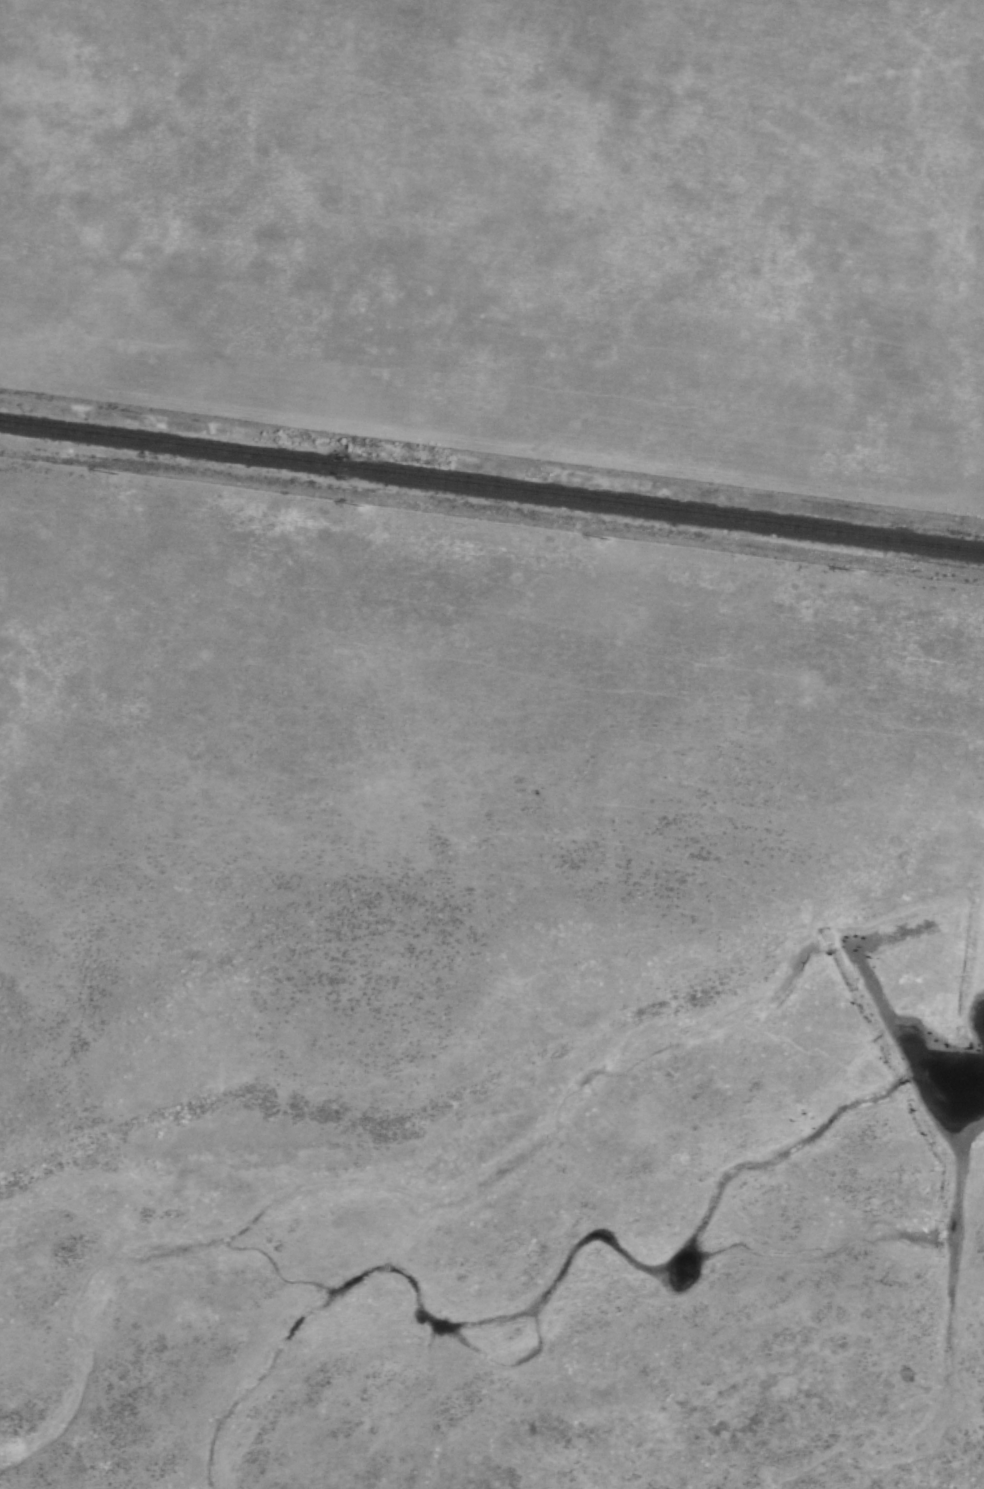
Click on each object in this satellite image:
railway: (492, 485)
crop: (492, 744)

